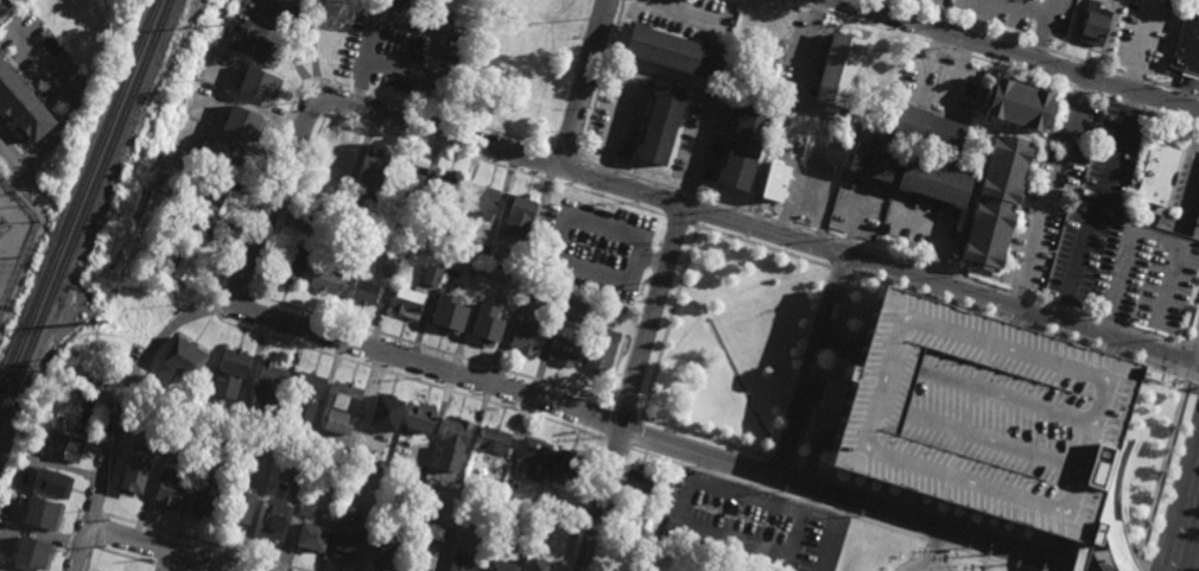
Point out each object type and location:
road: (799, 4)
road: (622, 5)
road: (1017, 7)
road: (687, 9)
road: (818, 9)
building: (290, 13)
parking lot: (996, 13)
building: (382, 15)
building: (331, 20)
road: (952, 21)
building: (772, 24)
building: (1091, 24)
power tower: (218, 25)
building: (420, 25)
road: (1040, 28)
road: (1137, 43)
building: (1186, 44)
road: (807, 47)
road: (1035, 47)
building: (268, 50)
building: (359, 50)
road: (949, 50)
building: (672, 52)
building: (399, 55)
road: (1022, 55)
road: (1071, 58)
building: (436, 63)
road: (928, 64)
road: (1099, 66)
building: (836, 70)
building: (875, 70)
road: (1112, 71)
road: (958, 72)
road: (1131, 77)
building: (254, 83)
road: (583, 84)
road: (599, 85)
road: (1171, 89)
road: (1083, 91)
road: (71, 99)
road: (1105, 99)
road: (1128, 104)
building: (21, 106)
building: (1014, 106)
road: (1167, 116)
building: (235, 119)
building: (659, 125)
road: (616, 128)
building: (922, 133)
building: (836, 138)
building: (742, 150)
building: (335, 151)
road: (502, 152)
road: (566, 153)
road: (700, 154)
building: (818, 154)
building: (226, 157)
road: (15, 161)
road: (588, 163)
building: (182, 164)
road: (548, 164)
building: (865, 164)
road: (603, 167)
building: (373, 170)
road: (576, 175)
building: (1157, 175)
building: (410, 179)
road: (645, 182)
building: (781, 182)
building: (928, 185)
building: (799, 189)
building: (443, 190)
road: (1053, 190)
railway: (78, 192)
road: (686, 193)
building: (211, 196)
building: (820, 197)
road: (273, 198)
building: (480, 202)
road: (1193, 203)
road: (1098, 204)
building: (992, 207)
railway: (83, 209)
building: (522, 209)
road: (285, 211)
road: (768, 220)
road: (856, 220)
road: (679, 221)
railway: (90, 223)
road: (564, 227)
building: (1198, 227)
gas station: (1198, 227)
road: (759, 228)
building: (405, 230)
building: (197, 231)
road: (1149, 234)
building: (442, 242)
road: (849, 243)
road: (761, 245)
building: (480, 253)
building: (521, 254)
road: (893, 258)
power substation: (18, 262)
building: (175, 264)
road: (850, 264)
building: (292, 265)
building: (388, 266)
road: (226, 268)
road: (842, 268)
road: (938, 272)
building: (144, 275)
building: (431, 277)
building: (324, 281)
road: (977, 285)
building: (470, 291)
building: (146, 292)
building: (364, 293)
road: (1016, 297)
building: (405, 304)
road: (1015, 304)
road: (1040, 304)
building: (567, 311)
road: (1062, 311)
building: (446, 317)
road: (1081, 317)
road: (905, 319)
road: (670, 323)
road: (1021, 323)
power tower: (107, 324)
road: (1104, 324)
road: (173, 325)
building: (486, 326)
building: (526, 336)
road: (1157, 338)
road: (839, 342)
building: (563, 349)
building: (599, 349)
building: (180, 356)
road: (1193, 357)
road: (806, 362)
building: (228, 370)
building: (52, 381)
building: (309, 382)
building: (266, 383)
road: (508, 386)
road: (633, 388)
road: (824, 389)
building: (344, 394)
road: (1005, 396)
road: (122, 401)
building: (77, 410)
building: (304, 410)
building: (382, 411)
road: (627, 411)
building: (983, 414)
parking lot: (983, 414)
building: (418, 417)
building: (39, 419)
building: (340, 423)
building: (456, 430)
building: (491, 438)
road: (705, 438)
building: (309, 442)
road: (992, 442)
building: (63, 446)
building: (532, 457)
building: (383, 459)
building: (449, 459)
building: (565, 465)
road: (792, 465)
road: (1161, 472)
building: (468, 478)
building: (132, 480)
building: (637, 481)
building: (53, 482)
building: (456, 483)
building: (166, 488)
building: (506, 490)
road: (97, 494)
building: (202, 497)
building: (673, 500)
building: (239, 506)
road: (1114, 506)
building: (545, 507)
building: (42, 512)
building: (1110, 516)
building: (518, 518)
building: (273, 519)
road: (1184, 520)
road: (973, 522)
road: (925, 524)
building: (624, 529)
building: (310, 535)
building: (345, 538)
road: (204, 543)
building: (690, 545)
road: (170, 547)
building: (424, 547)
road: (934, 547)
building: (31, 551)
building: (387, 552)
road: (133, 559)
building: (461, 563)
building: (496, 565)
road: (920, 566)
building: (533, 570)

